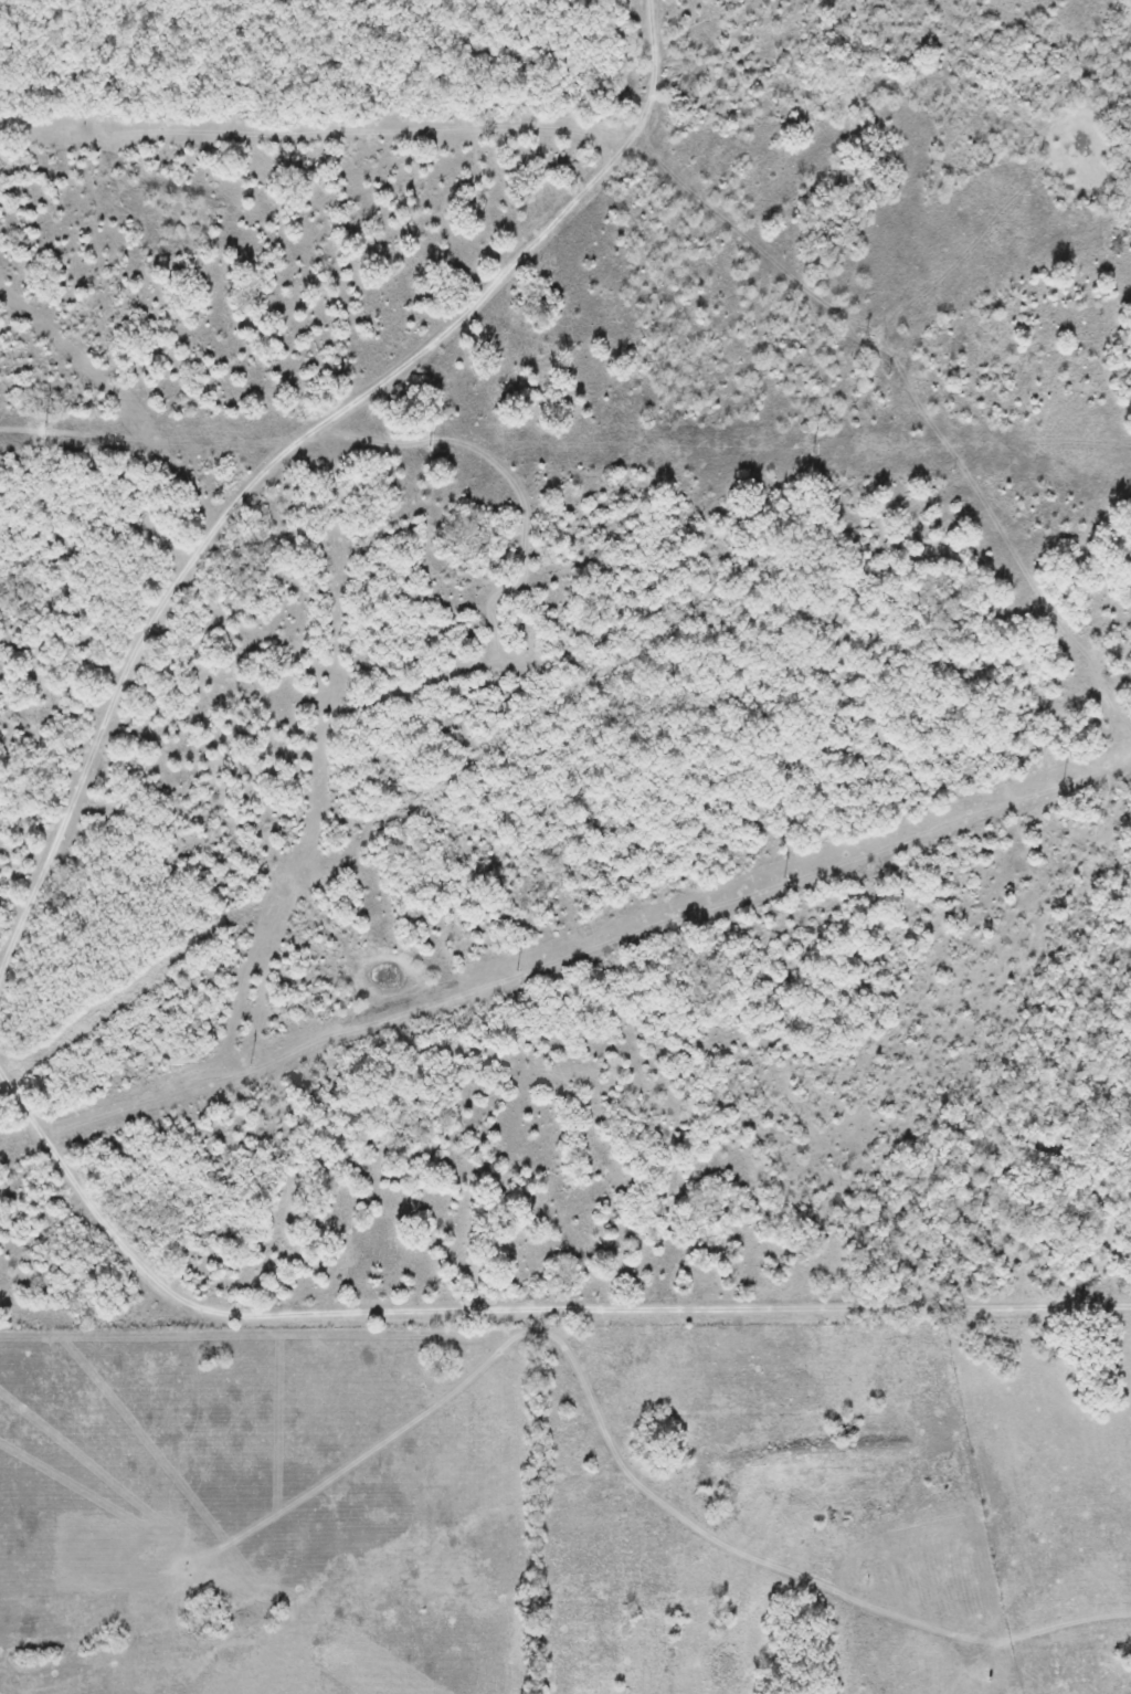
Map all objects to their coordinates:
power tower: (46, 433)
power tower: (431, 442)
power tower: (814, 449)

